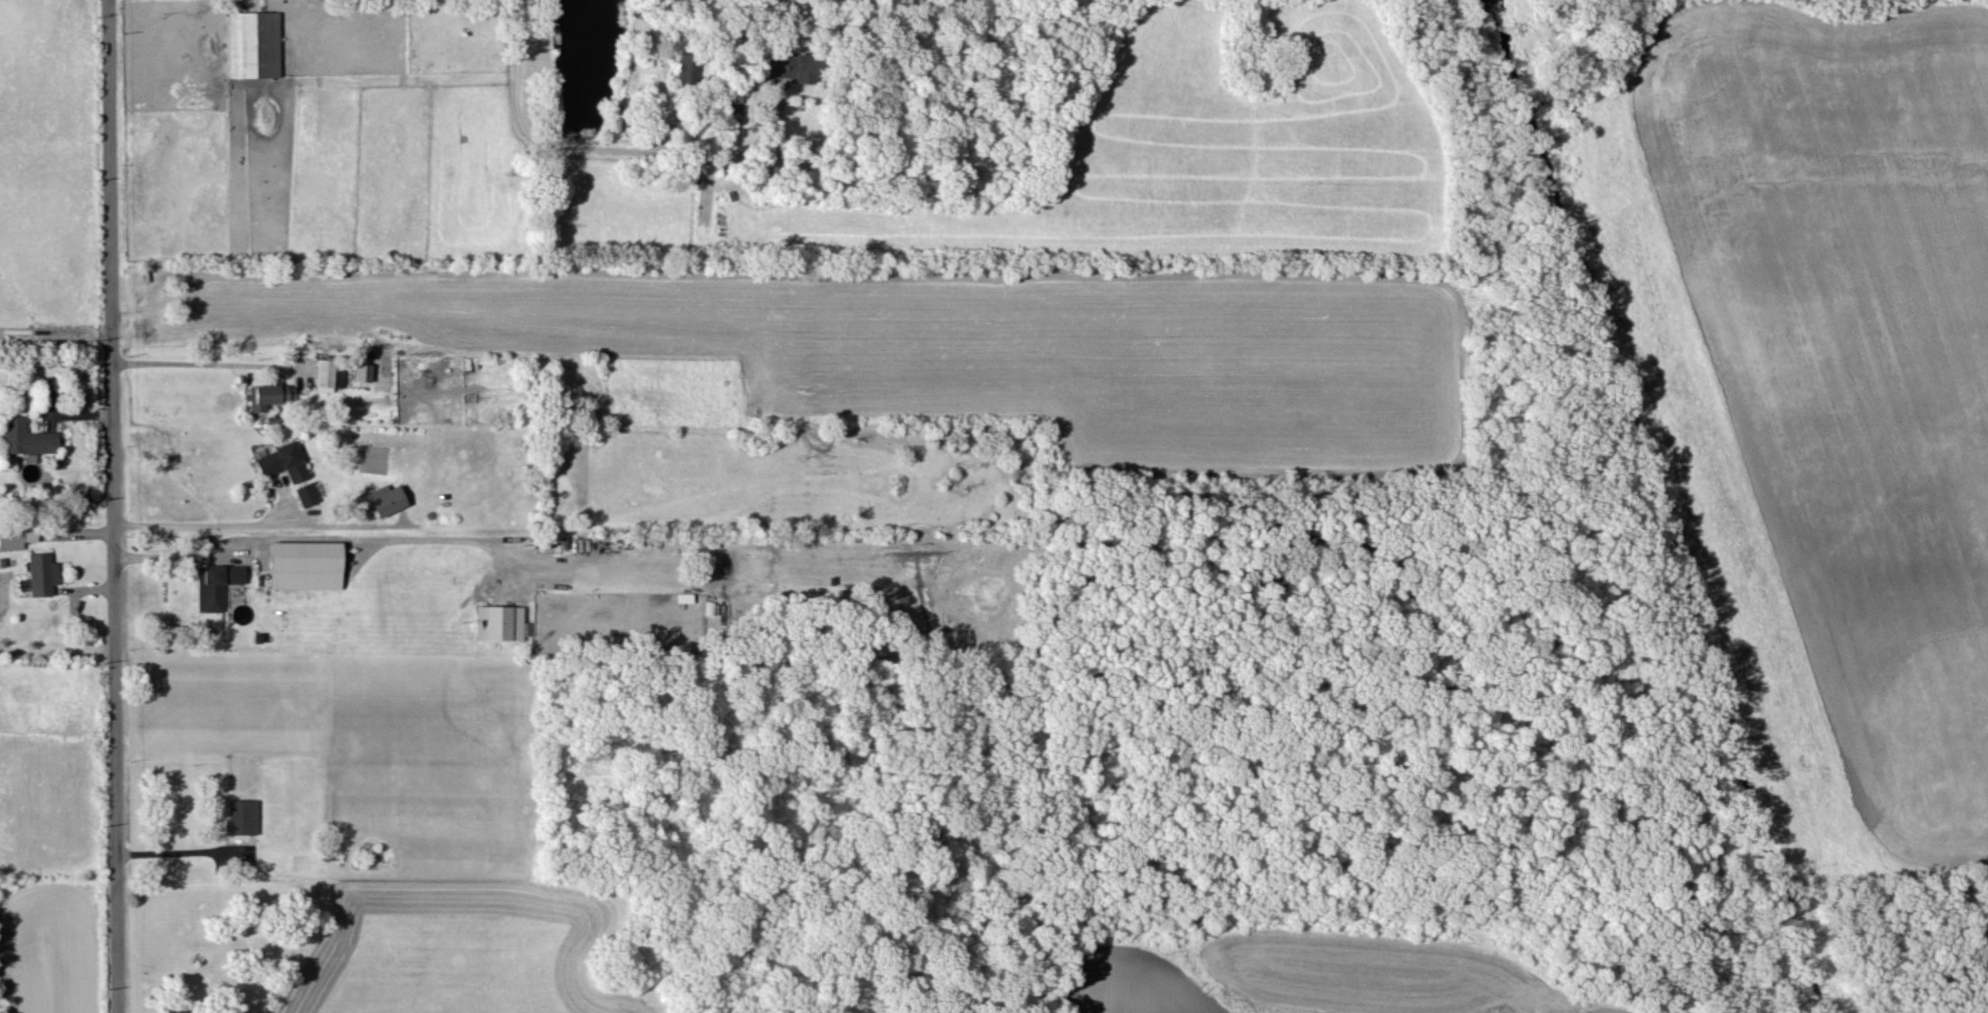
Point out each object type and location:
building: (253, 46)
building: (779, 69)
road: (556, 144)
road: (206, 365)
building: (329, 377)
building: (267, 398)
building: (25, 439)
building: (281, 464)
building: (306, 497)
building: (385, 503)
road: (110, 506)
road: (204, 527)
road: (329, 540)
building: (10, 542)
building: (303, 568)
building: (41, 577)
building: (215, 588)
building: (500, 625)
road: (56, 645)
building: (242, 819)
road: (178, 854)

